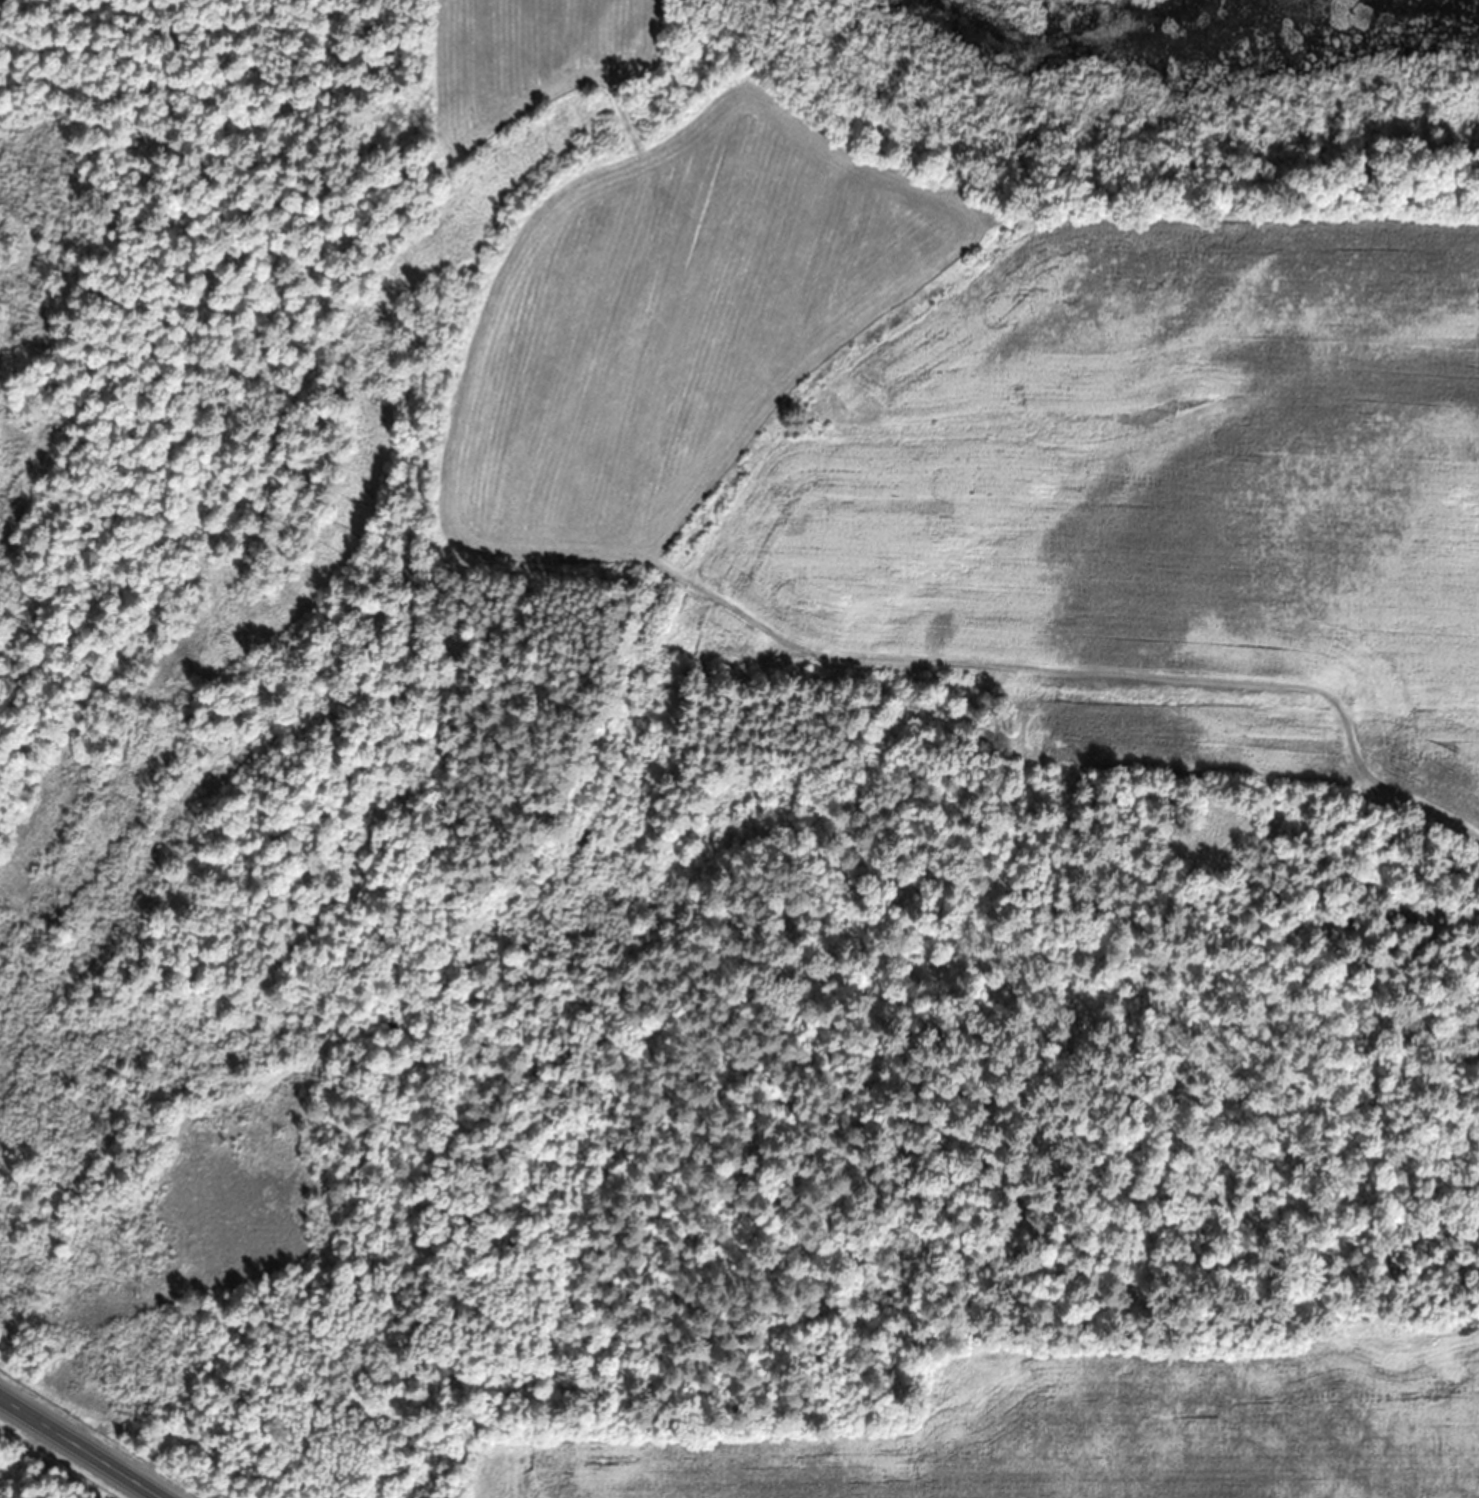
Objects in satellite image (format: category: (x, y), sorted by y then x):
road: (78, 1448)

